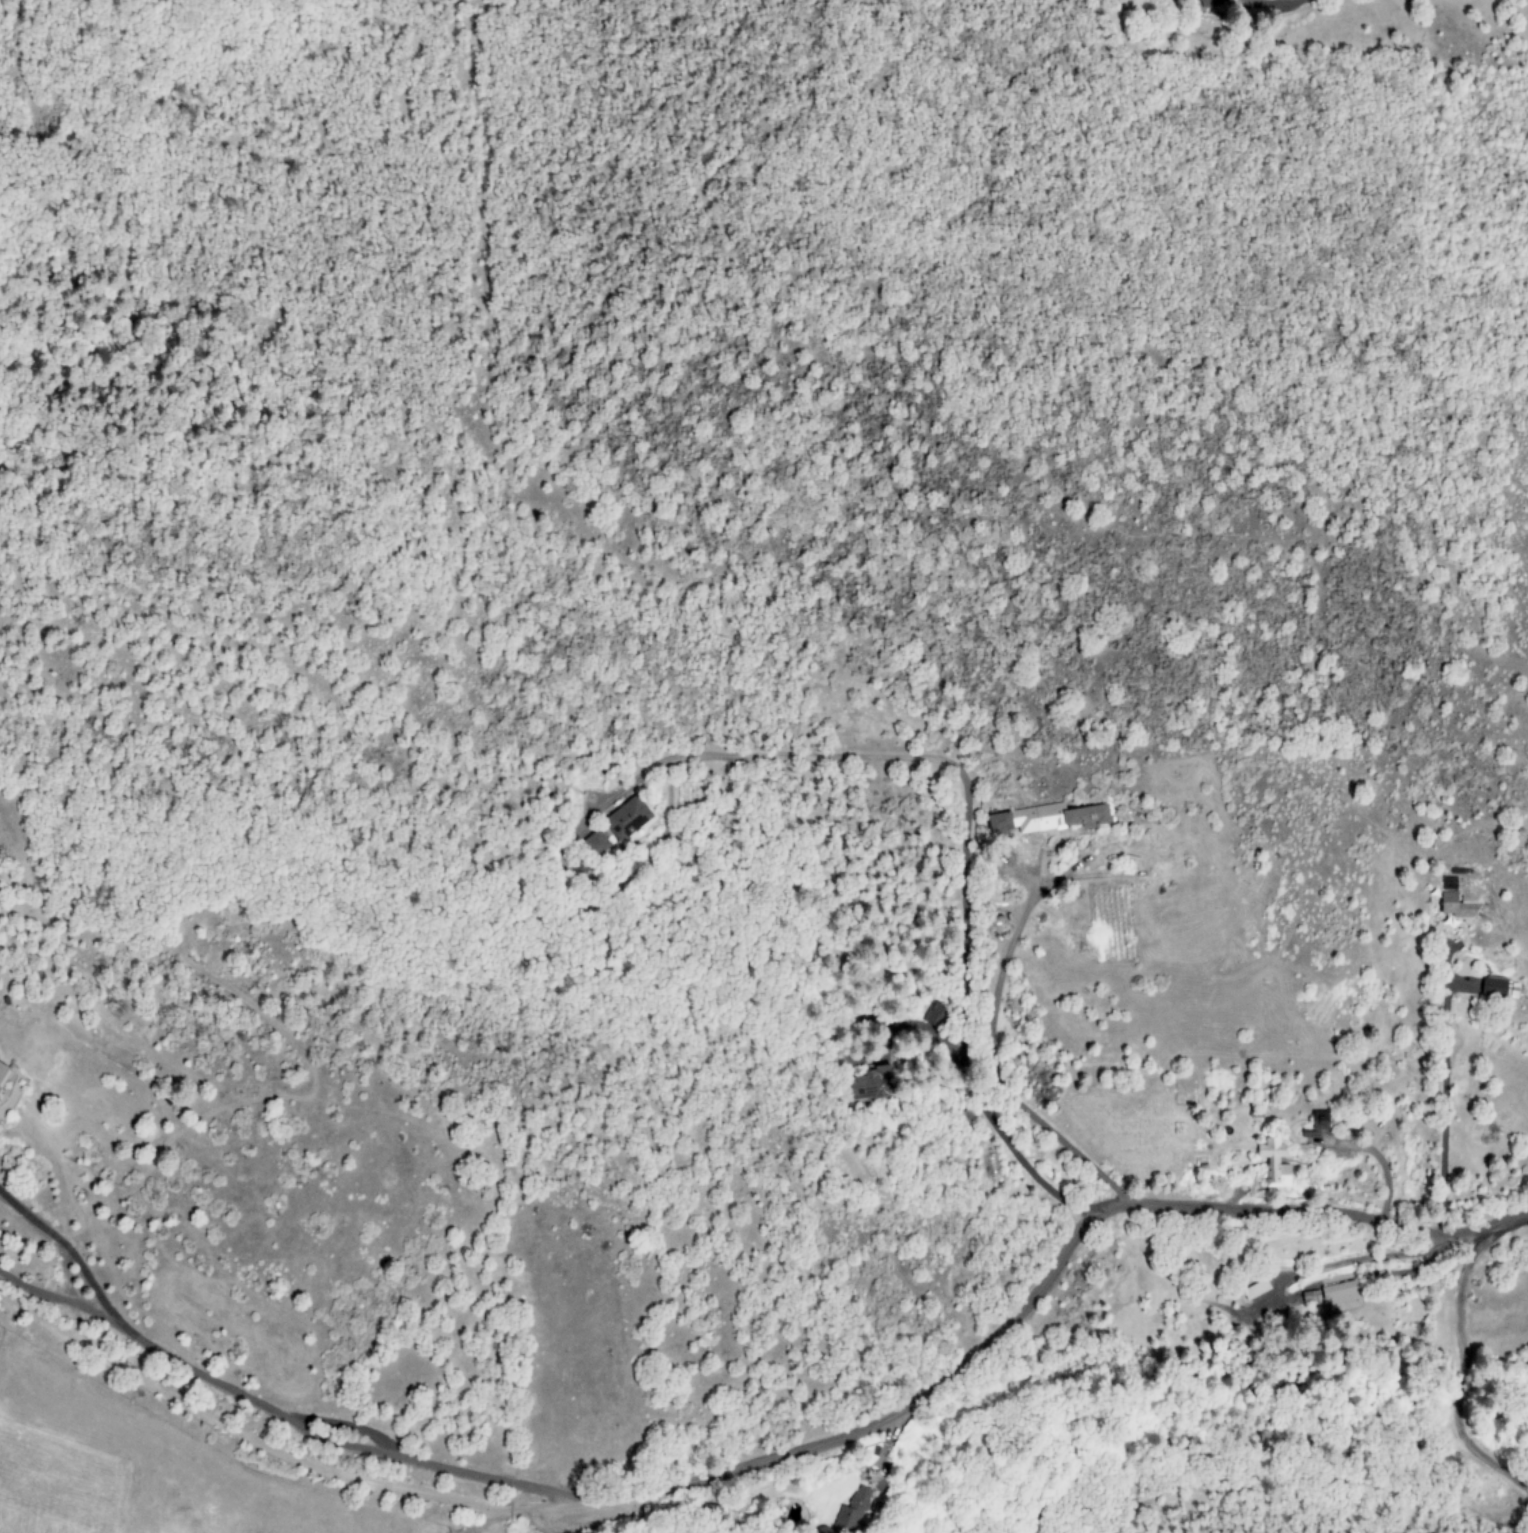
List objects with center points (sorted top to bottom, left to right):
road: (1259, 0)
building: (1209, 3)
building: (627, 818)
building: (1046, 818)
building: (595, 844)
building: (1454, 906)
building: (1495, 988)
building: (936, 1014)
building: (4, 1074)
building: (872, 1084)
building: (1315, 1125)
building: (1273, 1163)
building: (1331, 1295)
road: (1033, 1301)
road: (259, 1439)
building: (854, 1512)
road: (511, 1523)

